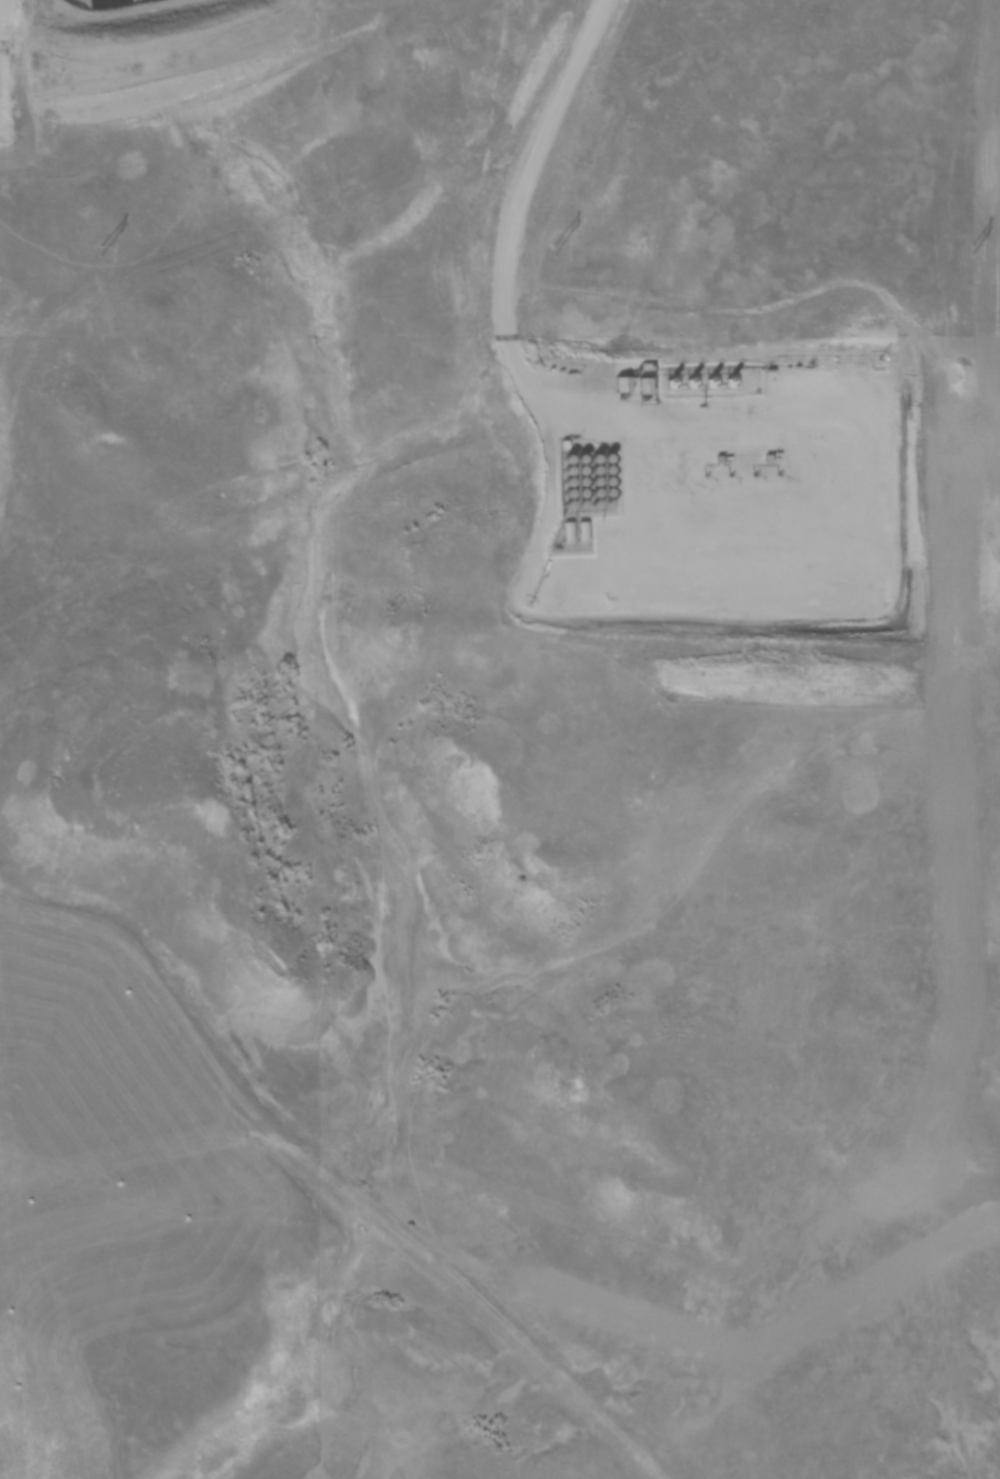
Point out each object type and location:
road: (325, 1178)

